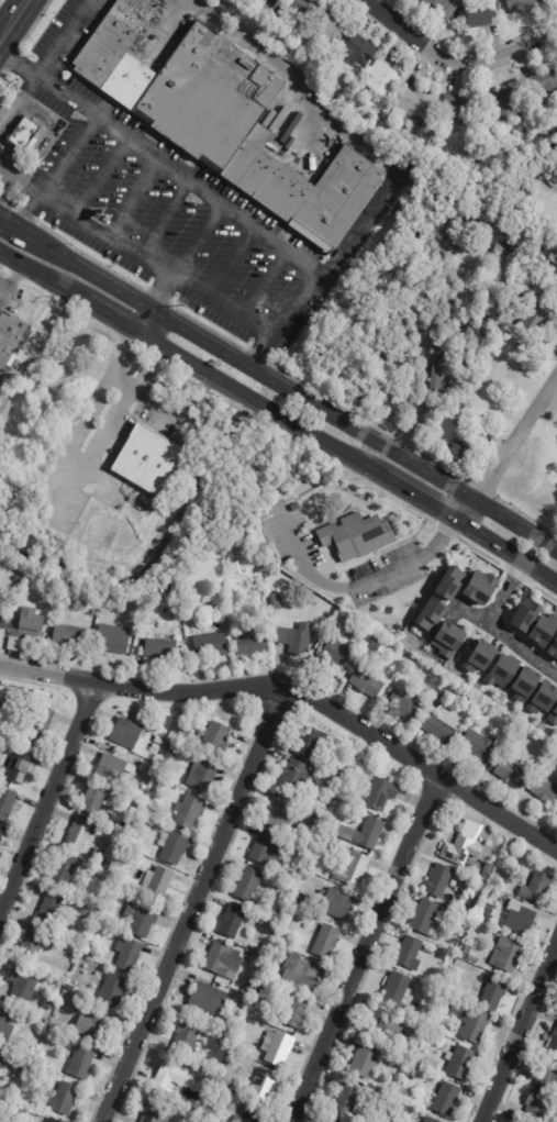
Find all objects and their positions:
building: (267, 4)
building: (522, 4)
building: (305, 8)
building: (444, 8)
building: (480, 16)
road: (14, 20)
building: (333, 30)
road: (409, 33)
road: (59, 36)
road: (508, 49)
building: (359, 51)
road: (15, 63)
building: (382, 78)
building: (544, 84)
road: (15, 95)
building: (508, 104)
building: (414, 105)
building: (463, 109)
building: (223, 120)
road: (342, 129)
building: (26, 135)
road: (4, 170)
road: (53, 170)
road: (94, 176)
road: (129, 198)
road: (221, 207)
road: (161, 219)
road: (3, 220)
road: (102, 236)
road: (194, 241)
building: (499, 258)
building: (555, 259)
road: (227, 263)
road: (80, 266)
building: (526, 270)
building: (536, 274)
road: (10, 276)
road: (259, 284)
road: (65, 293)
road: (161, 295)
road: (219, 307)
building: (533, 315)
road: (145, 324)
road: (134, 335)
building: (11, 336)
building: (434, 366)
building: (2, 399)
road: (156, 403)
road: (356, 432)
road: (504, 452)
road: (66, 454)
building: (461, 454)
building: (146, 460)
road: (347, 462)
building: (358, 535)
building: (448, 582)
road: (350, 585)
building: (479, 587)
road: (503, 595)
building: (275, 601)
building: (126, 606)
building: (430, 613)
building: (523, 614)
building: (343, 616)
building: (4, 618)
building: (25, 626)
building: (542, 627)
building: (365, 633)
building: (69, 635)
road: (509, 637)
building: (297, 638)
building: (446, 640)
building: (113, 641)
building: (253, 642)
building: (377, 643)
building: (211, 644)
building: (553, 646)
building: (159, 651)
building: (335, 655)
building: (479, 657)
building: (414, 665)
building: (501, 671)
building: (368, 681)
building: (523, 682)
building: (443, 695)
building: (542, 697)
road: (297, 698)
building: (477, 701)
building: (404, 706)
building: (553, 714)
building: (34, 720)
building: (444, 725)
building: (127, 733)
building: (185, 733)
building: (215, 738)
building: (159, 740)
building: (311, 742)
building: (155, 746)
building: (479, 746)
building: (172, 752)
building: (18, 767)
building: (112, 768)
building: (145, 769)
building: (512, 773)
building: (203, 775)
building: (297, 775)
building: (336, 780)
building: (157, 788)
building: (546, 790)
building: (345, 793)
building: (381, 793)
road: (46, 796)
building: (96, 797)
building: (151, 799)
building: (7, 802)
building: (190, 811)
building: (280, 811)
building: (318, 830)
building: (1, 833)
building: (364, 833)
building: (80, 834)
building: (323, 844)
building: (465, 844)
building: (172, 846)
building: (266, 848)
building: (99, 857)
building: (355, 869)
building: (476, 869)
building: (64, 870)
building: (489, 870)
building: (294, 871)
building: (103, 875)
building: (441, 880)
building: (158, 882)
building: (249, 884)
building: (537, 887)
building: (478, 890)
building: (283, 900)
building: (303, 902)
building: (335, 902)
road: (190, 904)
building: (470, 904)
building: (51, 908)
building: (487, 912)
building: (521, 917)
building: (430, 918)
building: (142, 919)
building: (87, 921)
building: (234, 921)
building: (271, 924)
building: (290, 924)
building: (326, 941)
building: (33, 943)
road: (364, 948)
building: (428, 948)
building: (277, 953)
building: (411, 953)
building: (127, 954)
building: (508, 954)
building: (225, 959)
building: (303, 973)
building: (22, 982)
building: (261, 988)
building: (247, 989)
building: (397, 989)
building: (113, 990)
building: (494, 995)
building: (209, 999)
building: (190, 1011)
building: (290, 1011)
building: (5, 1025)
building: (92, 1025)
building: (476, 1025)
building: (387, 1026)
building: (455, 1029)
road: (521, 1033)
building: (420, 1034)
building: (187, 1037)
building: (555, 1042)
building: (238, 1046)
building: (278, 1048)
building: (2, 1058)
building: (366, 1060)
building: (81, 1063)
building: (461, 1063)
building: (25, 1068)
building: (171, 1075)
building: (402, 1075)
building: (549, 1076)
building: (266, 1085)
building: (209, 1087)
building: (234, 1088)
building: (65, 1098)
building: (448, 1099)
building: (348, 1100)
building: (402, 1108)
building: (539, 1109)
building: (156, 1112)
building: (249, 1113)
building: (52, 1120)
building: (431, 1120)
building: (325, 1121)
building: (331, 1121)

